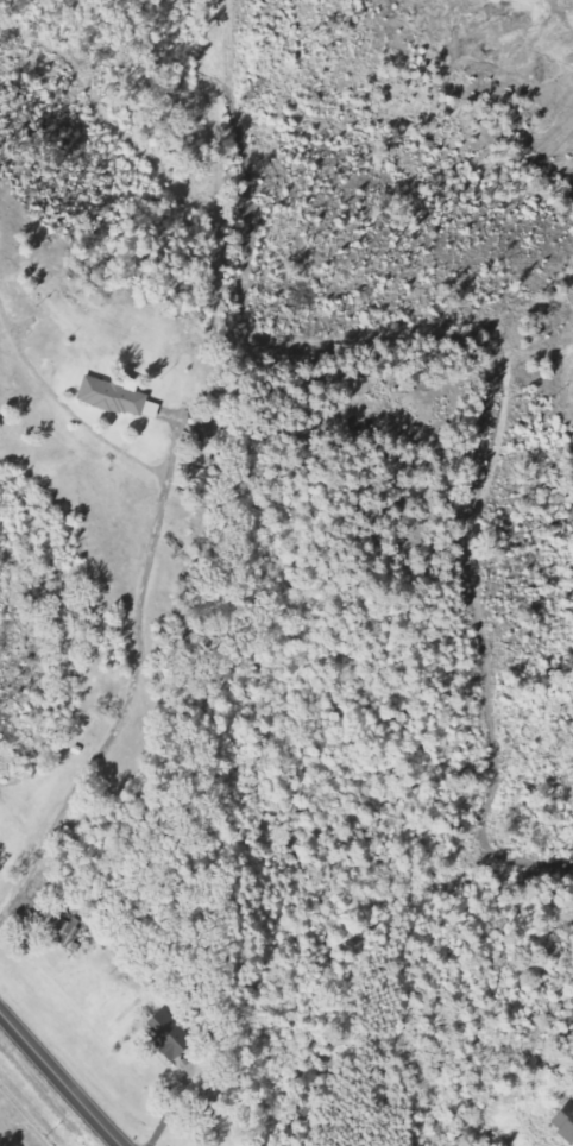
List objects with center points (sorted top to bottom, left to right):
building: (121, 398)
building: (61, 930)
building: (170, 1035)
road: (59, 1079)
building: (565, 1122)

